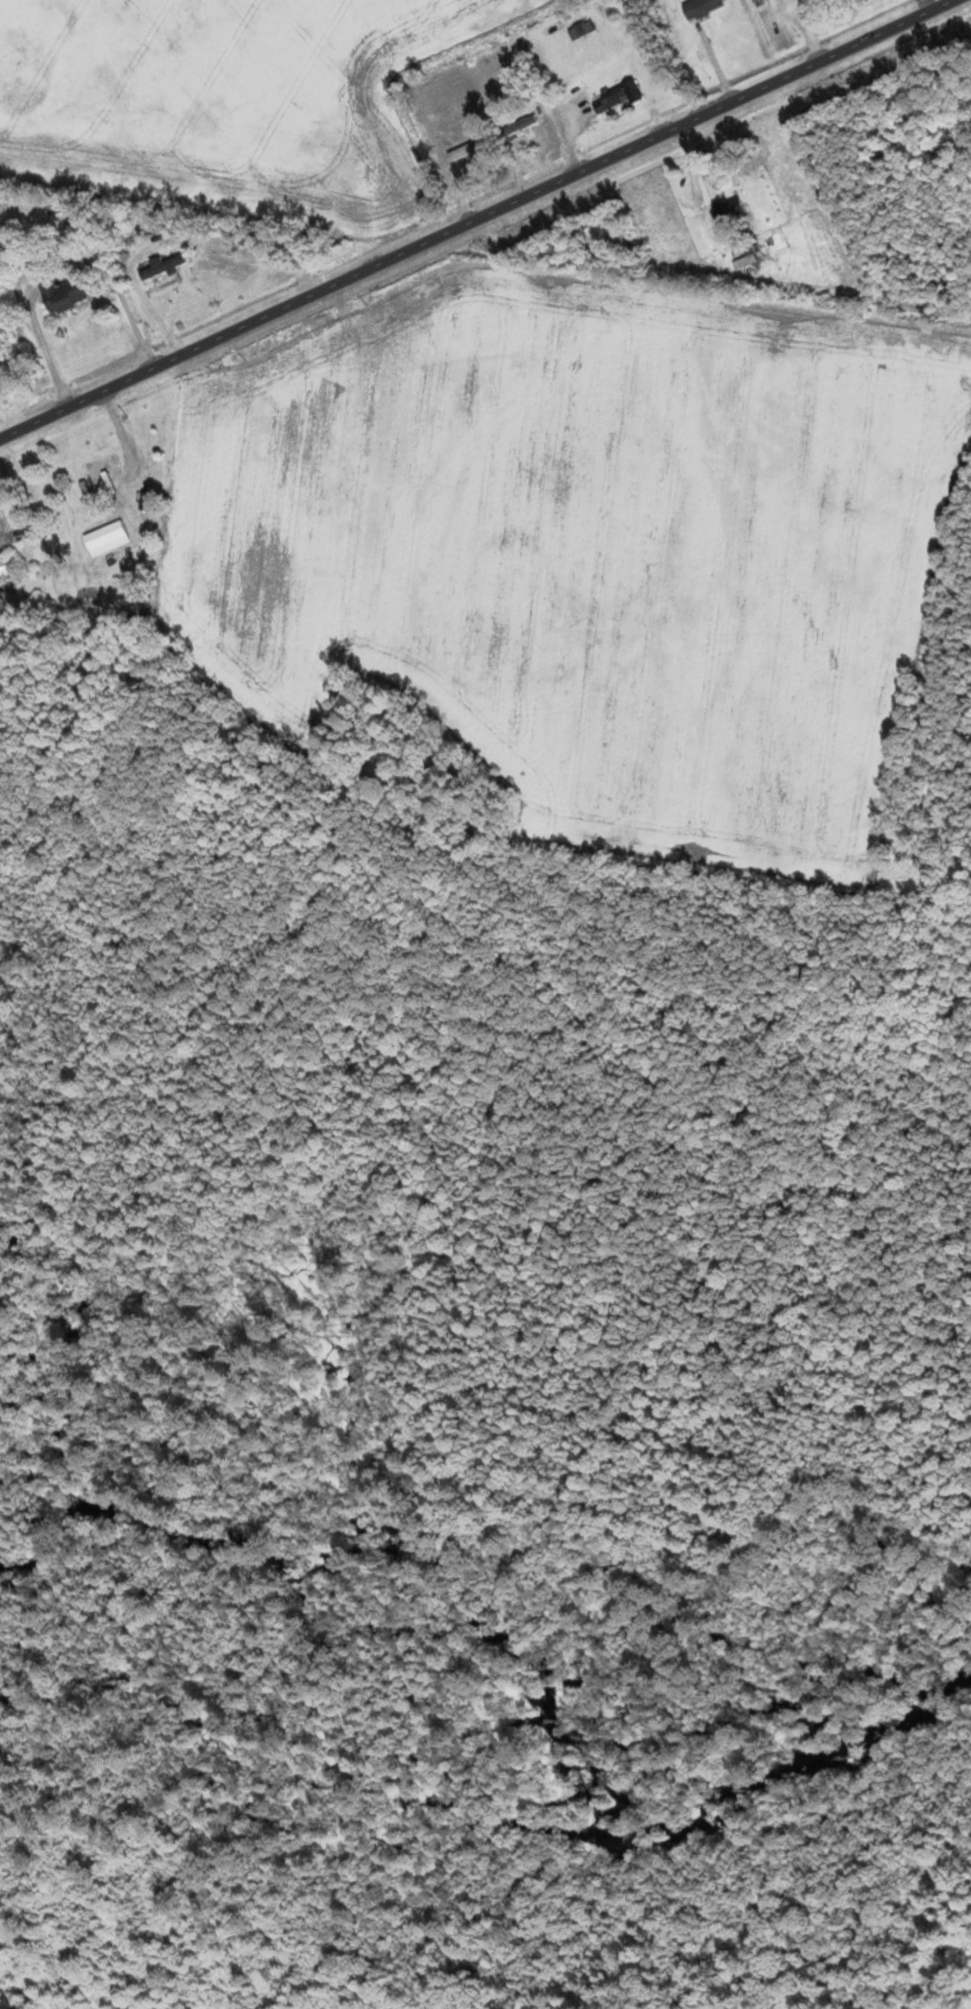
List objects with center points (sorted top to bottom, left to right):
road: (929, 5)
building: (699, 8)
building: (581, 29)
building: (615, 96)
road: (586, 169)
building: (727, 209)
building: (163, 266)
building: (61, 294)
road: (110, 388)
building: (98, 471)

